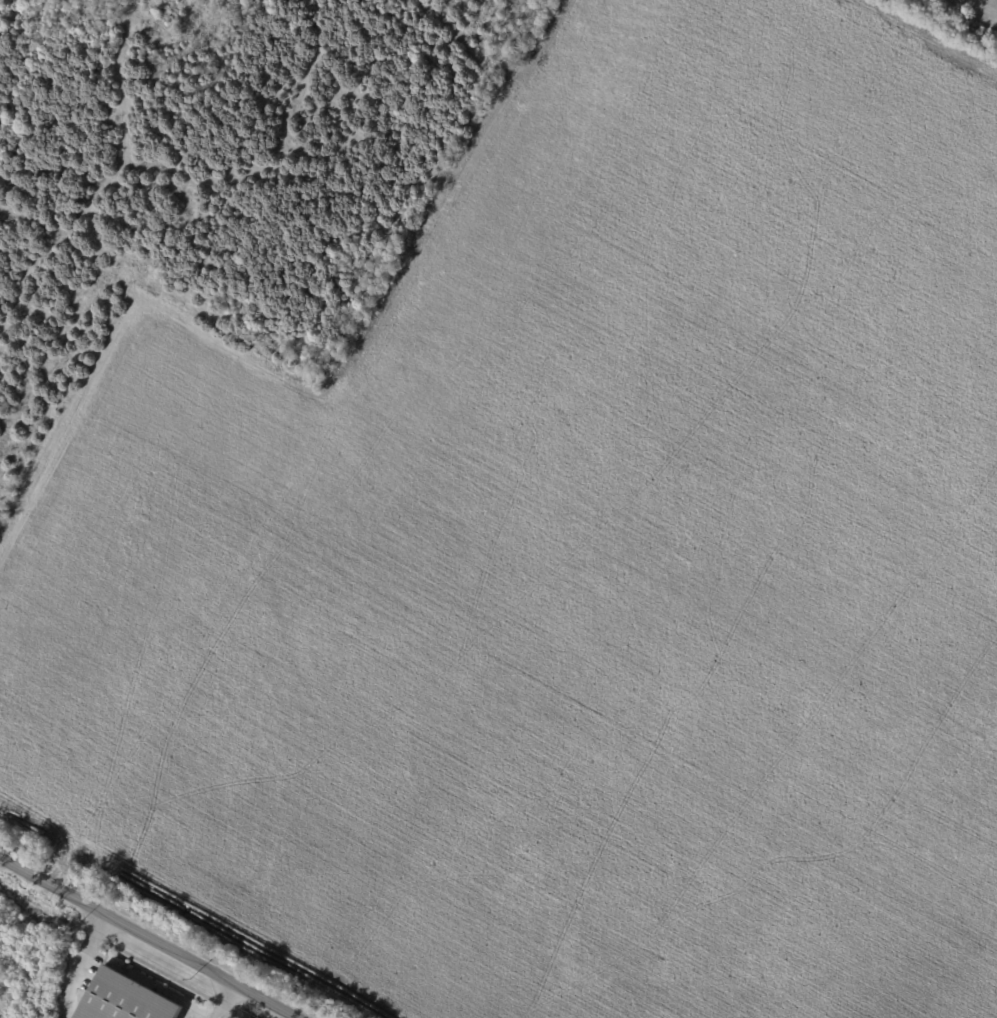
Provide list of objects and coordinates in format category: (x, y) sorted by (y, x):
building: (99, 291)
crop: (577, 556)
road: (153, 935)
road: (84, 956)
building: (125, 999)
road: (227, 999)
road: (64, 1011)

